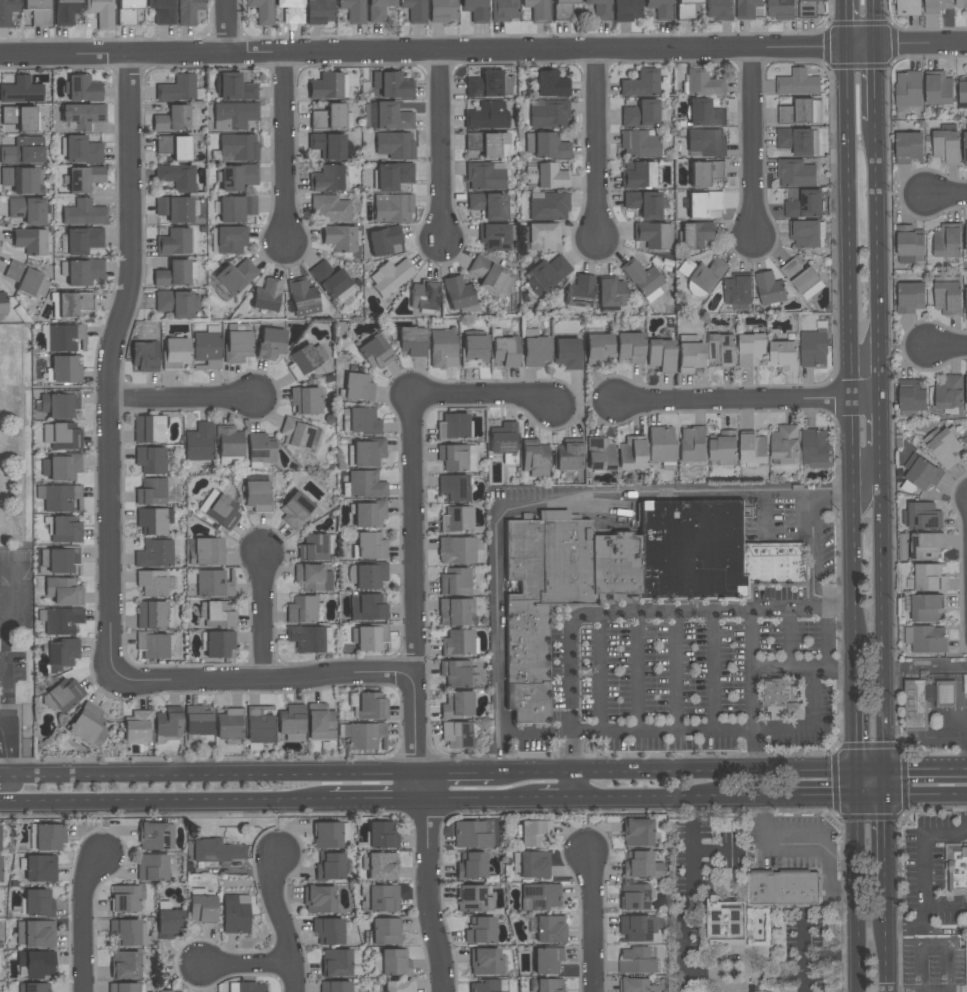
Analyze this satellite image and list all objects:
building: (961, 3)
building: (936, 5)
building: (908, 7)
building: (660, 8)
building: (747, 8)
building: (807, 8)
building: (563, 9)
building: (599, 9)
building: (685, 9)
building: (780, 9)
building: (291, 10)
building: (353, 10)
building: (378, 10)
building: (415, 10)
building: (442, 10)
building: (475, 10)
building: (503, 10)
building: (538, 10)
building: (627, 10)
building: (719, 10)
building: (7, 11)
building: (38, 11)
building: (66, 11)
building: (127, 11)
building: (162, 11)
building: (188, 11)
building: (262, 11)
building: (319, 11)
building: (101, 13)
road: (845, 23)
road: (874, 23)
road: (857, 25)
road: (225, 29)
road: (224, 34)
road: (483, 53)
building: (551, 83)
building: (640, 83)
building: (702, 83)
building: (798, 83)
road: (877, 83)
building: (484, 84)
building: (391, 85)
building: (327, 86)
building: (82, 88)
building: (177, 88)
building: (234, 88)
building: (938, 88)
building: (908, 89)
building: (962, 89)
building: (21, 90)
building: (800, 112)
building: (548, 113)
building: (705, 113)
building: (640, 114)
building: (82, 115)
building: (234, 115)
building: (487, 115)
building: (388, 116)
building: (21, 117)
building: (331, 117)
building: (175, 119)
building: (797, 140)
building: (488, 143)
building: (639, 143)
building: (706, 143)
road: (753, 144)
building: (946, 144)
building: (328, 145)
building: (395, 145)
building: (546, 145)
road: (596, 146)
building: (174, 147)
building: (238, 147)
building: (909, 147)
building: (965, 147)
road: (442, 149)
building: (82, 150)
building: (23, 151)
road: (285, 152)
building: (705, 172)
building: (795, 173)
building: (393, 175)
building: (485, 175)
building: (545, 175)
building: (639, 175)
building: (176, 176)
building: (238, 177)
building: (83, 178)
building: (22, 179)
building: (326, 179)
road: (948, 196)
building: (644, 203)
building: (702, 203)
building: (806, 204)
building: (489, 205)
building: (548, 205)
building: (392, 207)
building: (236, 208)
building: (175, 209)
building: (330, 209)
building: (27, 210)
building: (84, 213)
building: (807, 233)
building: (653, 234)
building: (695, 234)
building: (496, 236)
building: (540, 236)
building: (966, 236)
building: (339, 238)
building: (231, 239)
building: (81, 240)
building: (383, 240)
building: (947, 240)
building: (30, 241)
building: (174, 242)
building: (909, 243)
road: (879, 260)
building: (81, 272)
building: (702, 273)
building: (176, 274)
building: (546, 274)
building: (490, 275)
building: (235, 276)
building: (391, 276)
building: (802, 278)
building: (643, 279)
building: (27, 281)
building: (332, 281)
building: (769, 288)
building: (737, 290)
building: (458, 293)
building: (579, 293)
building: (611, 294)
building: (267, 295)
building: (424, 295)
building: (947, 295)
building: (910, 297)
building: (303, 299)
building: (2, 303)
building: (177, 303)
building: (966, 303)
building: (70, 304)
building: (61, 338)
building: (412, 341)
building: (270, 343)
road: (947, 345)
building: (237, 346)
road: (848, 346)
building: (443, 347)
building: (629, 347)
building: (722, 347)
building: (474, 348)
building: (535, 348)
building: (813, 348)
building: (207, 349)
building: (504, 349)
building: (598, 349)
building: (751, 349)
building: (175, 352)
building: (374, 352)
building: (567, 353)
building: (661, 354)
building: (690, 355)
building: (784, 355)
building: (144, 356)
building: (306, 359)
road: (112, 362)
building: (66, 369)
building: (357, 387)
road: (27, 388)
building: (966, 389)
building: (949, 394)
building: (911, 397)
road: (482, 398)
road: (182, 399)
building: (306, 400)
road: (750, 400)
building: (60, 404)
building: (360, 420)
road: (880, 422)
building: (453, 426)
building: (148, 429)
building: (300, 435)
building: (62, 436)
building: (228, 441)
building: (503, 441)
building: (198, 442)
building: (785, 443)
building: (692, 444)
road: (22, 445)
building: (661, 446)
building: (944, 446)
building: (724, 447)
building: (753, 448)
building: (815, 448)
building: (260, 450)
building: (365, 453)
building: (632, 453)
building: (569, 454)
building: (599, 454)
building: (452, 457)
building: (534, 458)
building: (150, 460)
building: (230, 461)
building: (60, 467)
road: (873, 471)
building: (922, 472)
building: (364, 485)
building: (453, 488)
road: (585, 490)
road: (831, 490)
building: (151, 492)
building: (257, 495)
building: (62, 498)
building: (219, 509)
building: (295, 509)
building: (368, 514)
building: (920, 516)
road: (764, 517)
building: (456, 519)
building: (153, 521)
building: (65, 530)
building: (369, 546)
building: (925, 546)
building: (315, 548)
building: (457, 550)
building: (208, 551)
building: (155, 554)
building: (62, 560)
building: (627, 574)
building: (370, 576)
building: (313, 577)
building: (927, 578)
building: (454, 582)
building: (154, 583)
building: (213, 584)
building: (63, 591)
building: (368, 607)
building: (923, 607)
building: (304, 609)
road: (884, 609)
building: (455, 611)
road: (636, 613)
building: (153, 614)
building: (219, 615)
road: (263, 616)
building: (62, 620)
parking lot: (14, 621)
building: (368, 637)
building: (308, 638)
road: (5, 639)
road: (789, 639)
building: (926, 639)
building: (457, 643)
building: (219, 644)
building: (155, 646)
building: (62, 653)
road: (926, 664)
road: (782, 667)
road: (675, 671)
road: (713, 671)
road: (600, 672)
road: (637, 672)
building: (456, 673)
road: (260, 679)
road: (752, 692)
road: (414, 696)
building: (60, 698)
building: (782, 698)
building: (457, 704)
building: (371, 706)
building: (915, 707)
building: (291, 720)
building: (197, 721)
building: (320, 721)
road: (856, 722)
building: (167, 724)
building: (260, 724)
building: (88, 726)
building: (229, 726)
building: (137, 727)
road: (758, 729)
parking lot: (9, 734)
building: (456, 734)
building: (360, 736)
road: (3, 743)
road: (7, 749)
road: (912, 772)
road: (675, 773)
traffic signals: (858, 773)
traffic signals: (889, 773)
road: (456, 774)
road: (209, 777)
road: (8, 785)
road: (571, 786)
road: (928, 797)
road: (807, 798)
traffic signals: (859, 798)
traffic signals: (890, 798)
road: (647, 799)
road: (474, 800)
road: (549, 800)
road: (375, 801)
road: (164, 803)
building: (0, 831)
building: (534, 832)
building: (636, 832)
building: (472, 833)
building: (330, 835)
building: (382, 835)
building: (156, 836)
building: (49, 837)
road: (815, 843)
road: (890, 844)
building: (217, 851)
road: (717, 852)
building: (531, 864)
building: (640, 865)
building: (330, 866)
building: (380, 866)
building: (471, 866)
building: (152, 867)
building: (41, 868)
building: (0, 870)
building: (956, 871)
road: (924, 874)
road: (687, 887)
building: (783, 887)
road: (859, 894)
building: (539, 896)
building: (635, 896)
building: (124, 898)
building: (383, 898)
building: (318, 899)
building: (474, 899)
building: (38, 902)
building: (202, 909)
building: (236, 914)
building: (725, 922)
building: (170, 923)
road: (591, 923)
road: (83, 924)
road: (281, 924)
building: (636, 927)
building: (550, 929)
building: (480, 930)
building: (328, 931)
building: (385, 931)
building: (129, 932)
building: (35, 934)
road: (802, 937)
road: (890, 954)
building: (548, 960)
building: (484, 961)
building: (636, 961)
road: (815, 961)
building: (392, 962)
building: (35, 963)
building: (336, 963)
building: (125, 965)
road: (244, 965)
building: (489, 985)
building: (546, 985)
building: (636, 985)
building: (336, 986)
building: (399, 986)
building: (33, 987)
building: (123, 987)
building: (247, 987)
building: (173, 991)
building: (758, 991)

